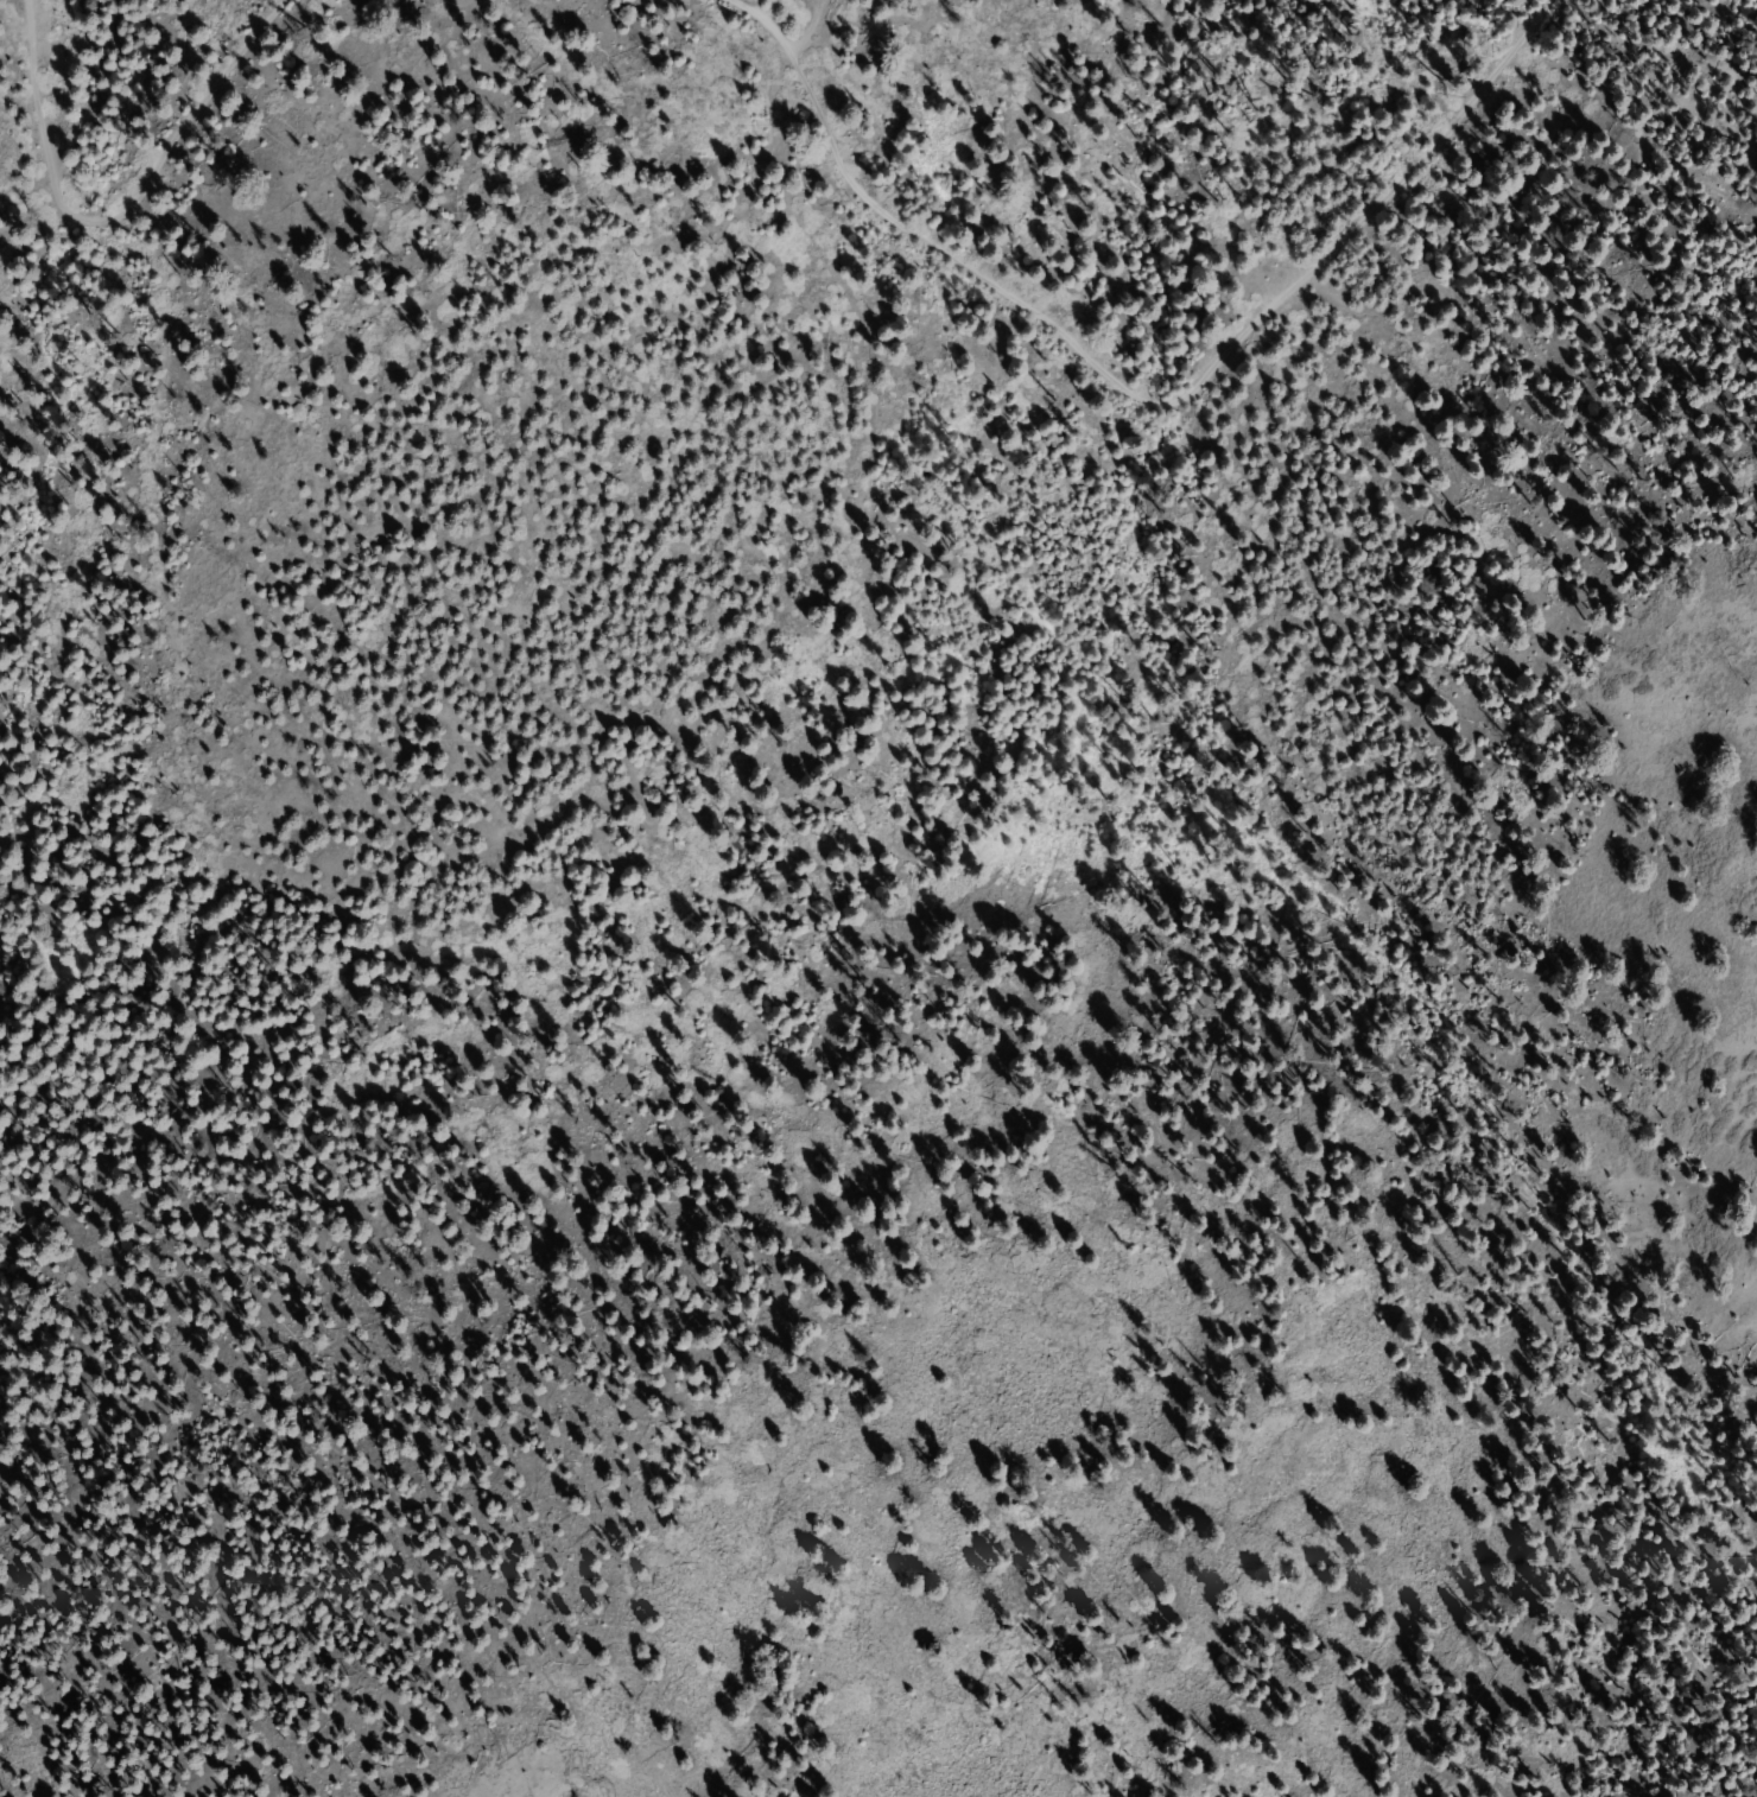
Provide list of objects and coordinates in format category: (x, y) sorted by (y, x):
road: (96, 202)
road: (1093, 386)

